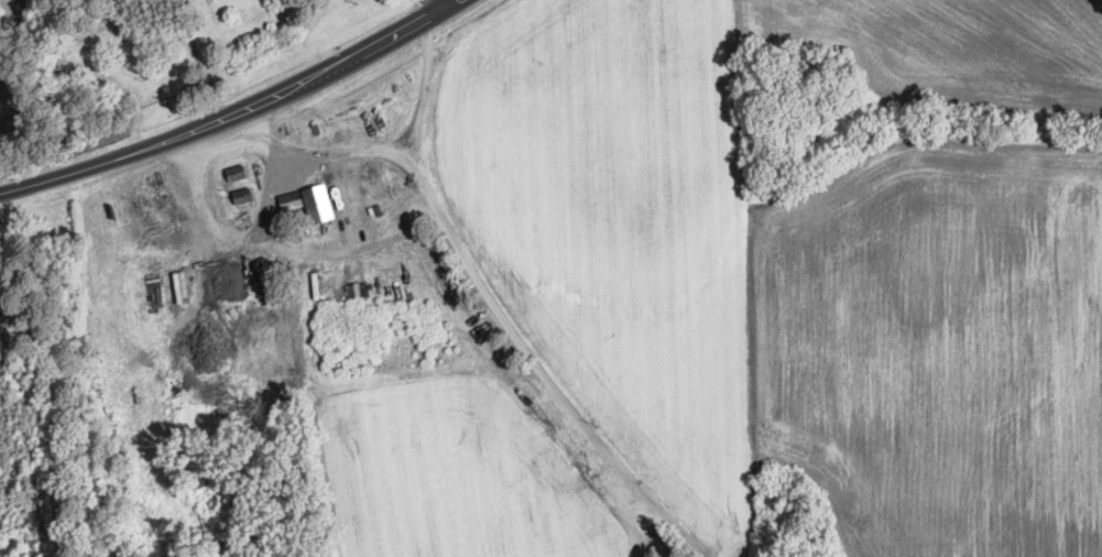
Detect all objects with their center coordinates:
road: (439, 3)
road: (423, 86)
road: (231, 112)
building: (231, 172)
building: (238, 195)
building: (306, 203)
road: (196, 210)
road: (308, 252)
road: (485, 291)
building: (7, 294)

